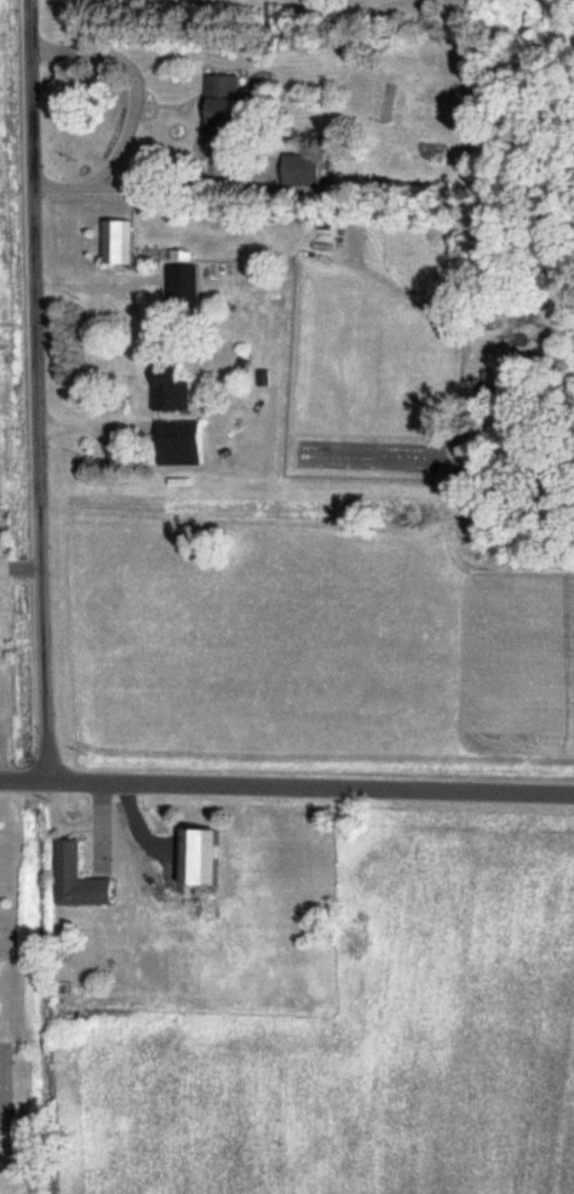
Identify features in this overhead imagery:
building: (218, 109)
building: (298, 171)
building: (114, 242)
building: (180, 287)
road: (40, 390)
building: (167, 390)
building: (178, 444)
road: (22, 567)
road: (286, 785)
building: (194, 858)
building: (76, 880)

